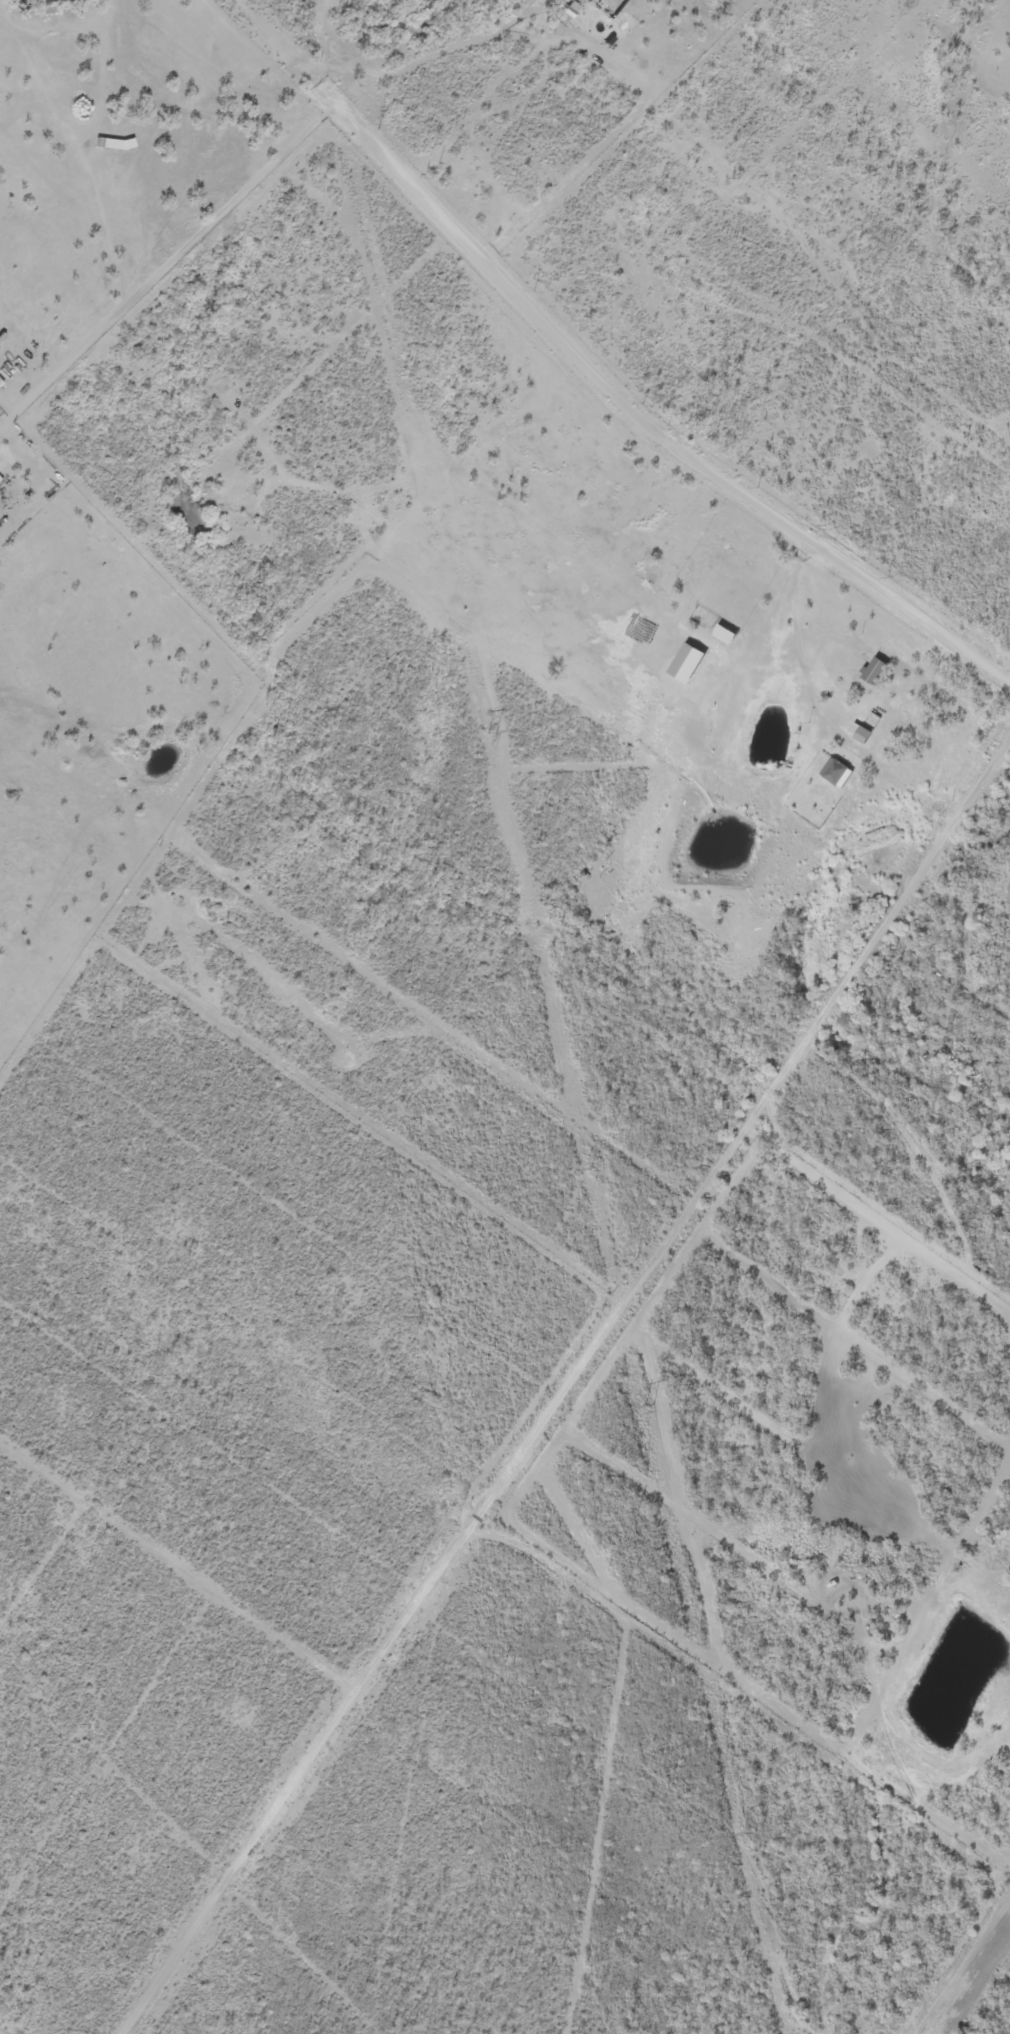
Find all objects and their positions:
building: (608, 5)
road: (154, 17)
building: (59, 145)
building: (108, 145)
road: (295, 156)
road: (773, 198)
power tower: (408, 368)
road: (897, 380)
building: (725, 629)
power tower: (494, 732)
building: (839, 768)
road: (729, 870)
road: (578, 1126)
power tower: (595, 1168)
road: (1000, 1262)
power tower: (646, 1407)
road: (865, 1734)
power tower: (745, 1834)
road: (902, 1935)

